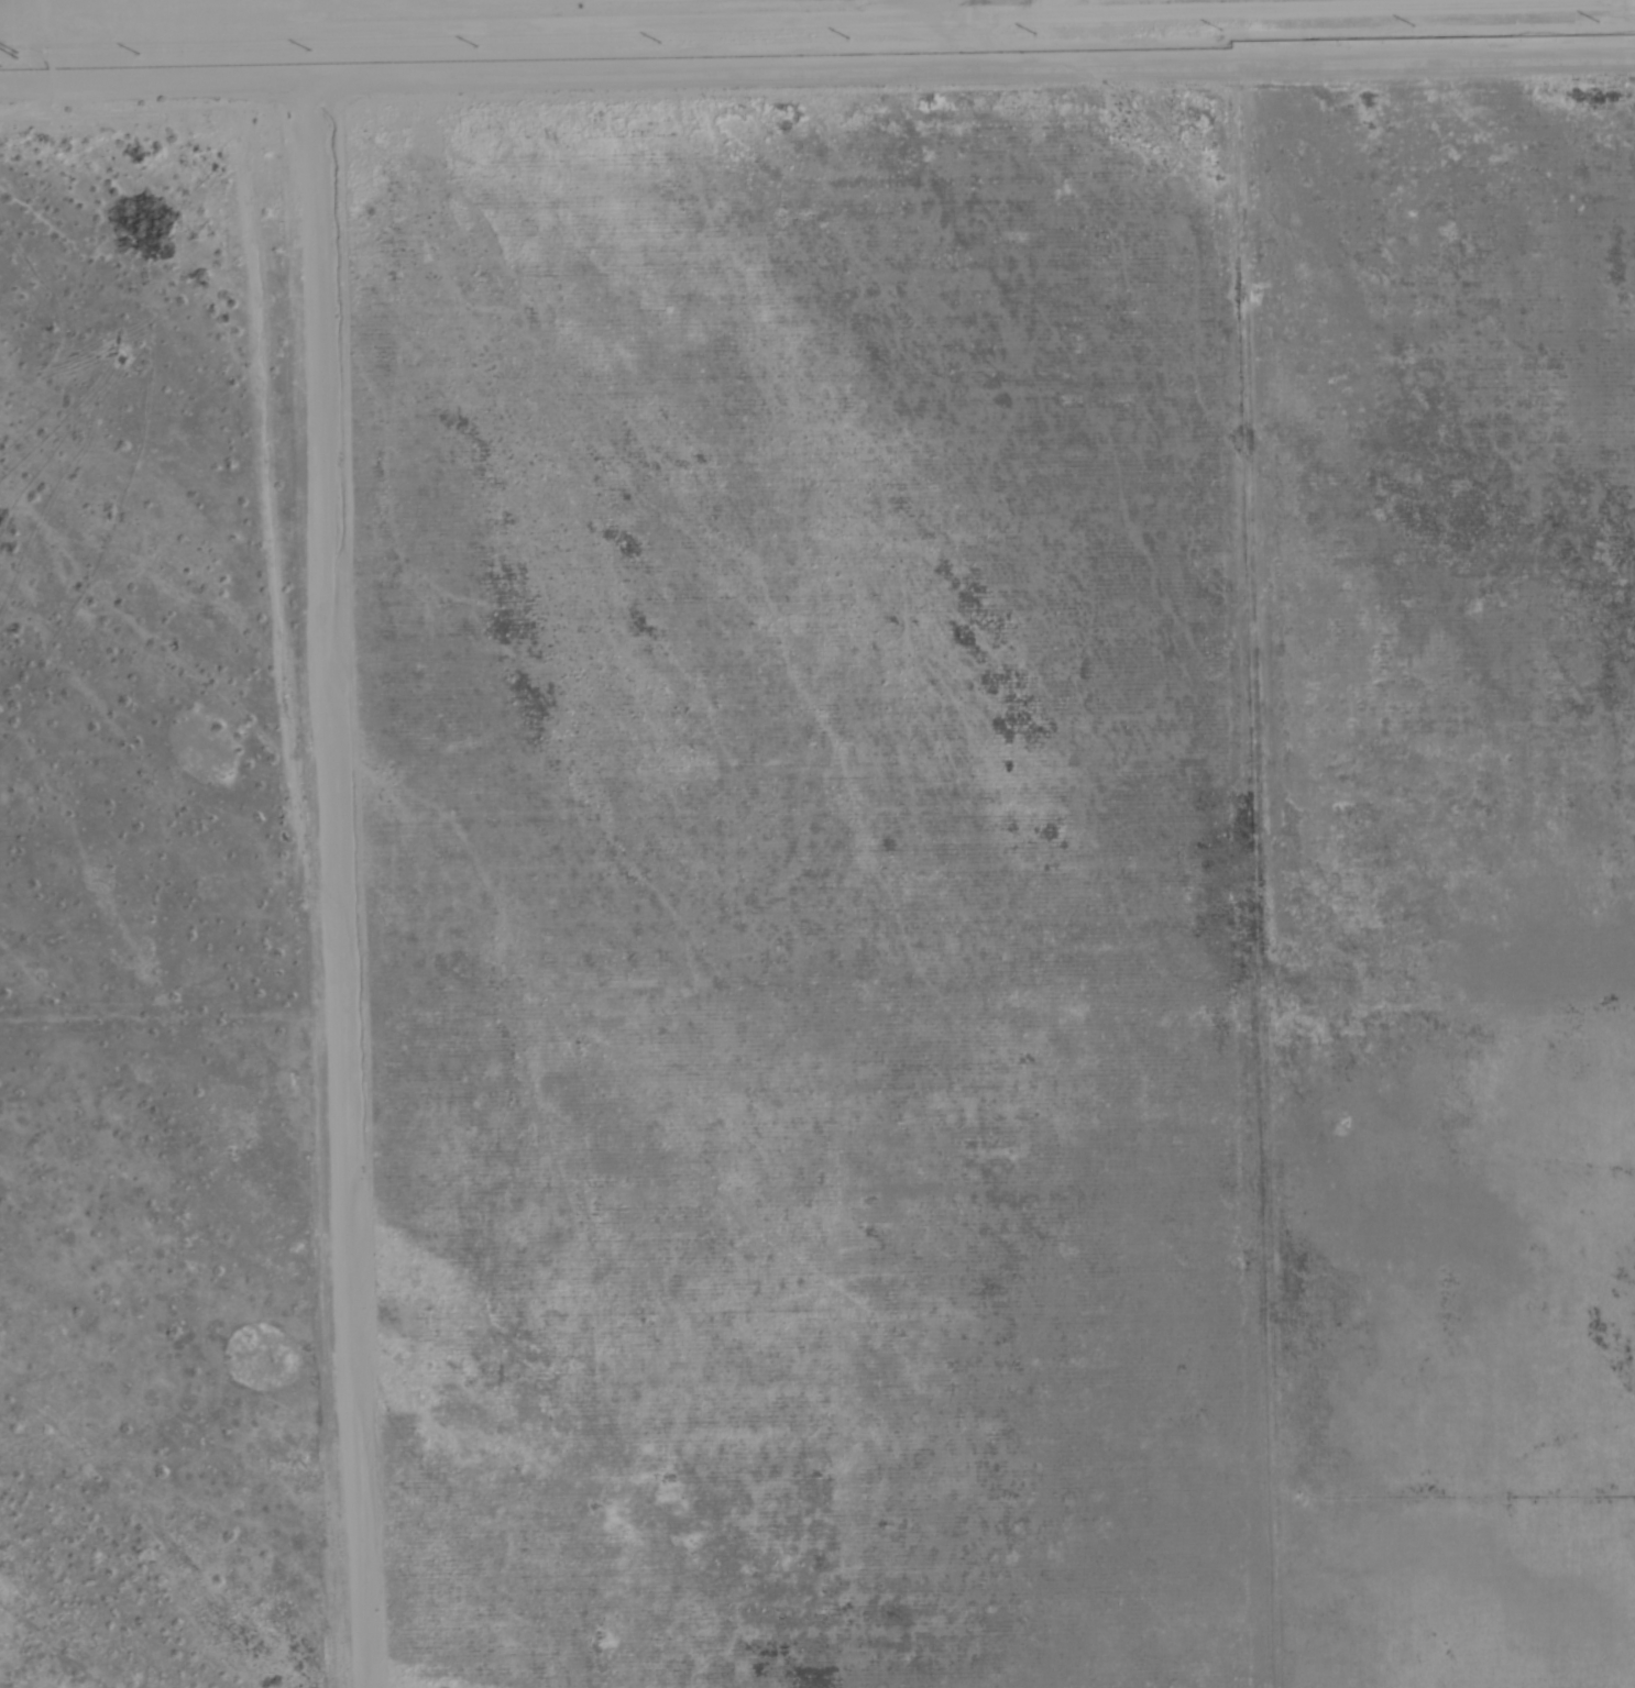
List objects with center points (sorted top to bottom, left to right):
solar farm: (720, 29)
road: (934, 79)
road: (119, 111)
road: (162, 1036)

